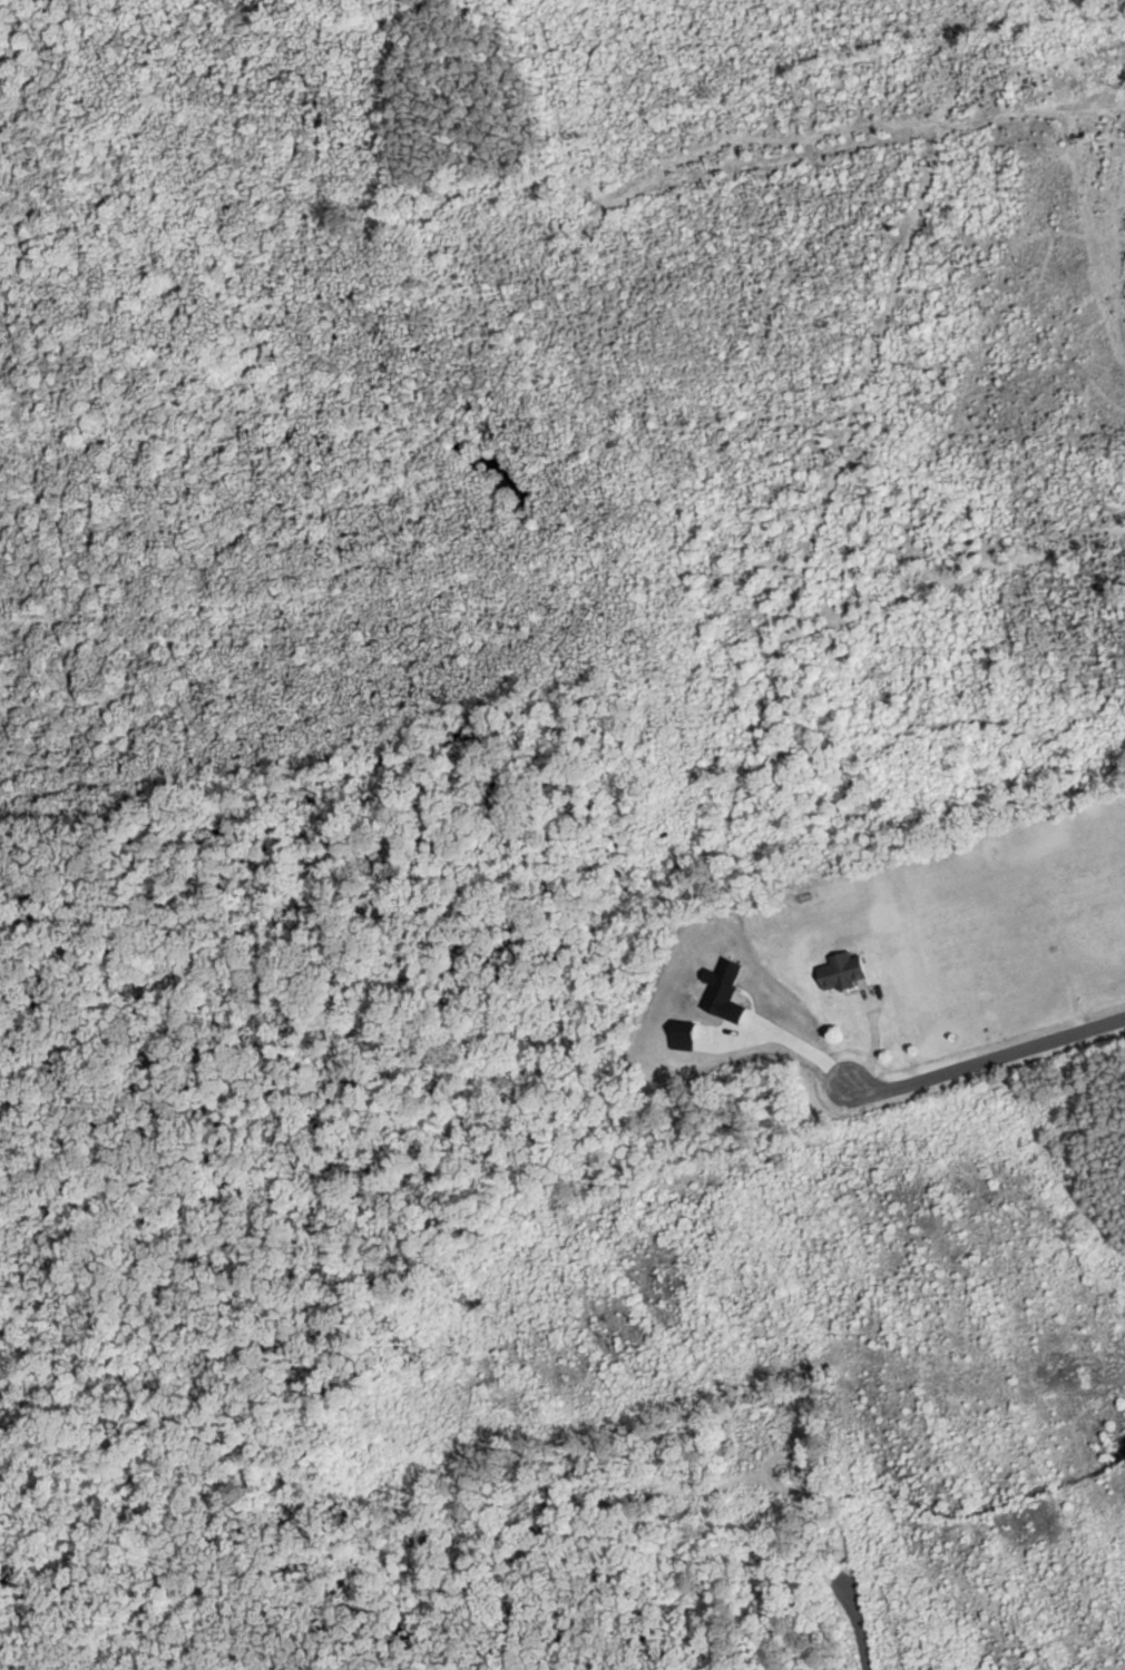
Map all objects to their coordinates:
building: (845, 972)
road: (873, 1041)
road: (988, 1059)

